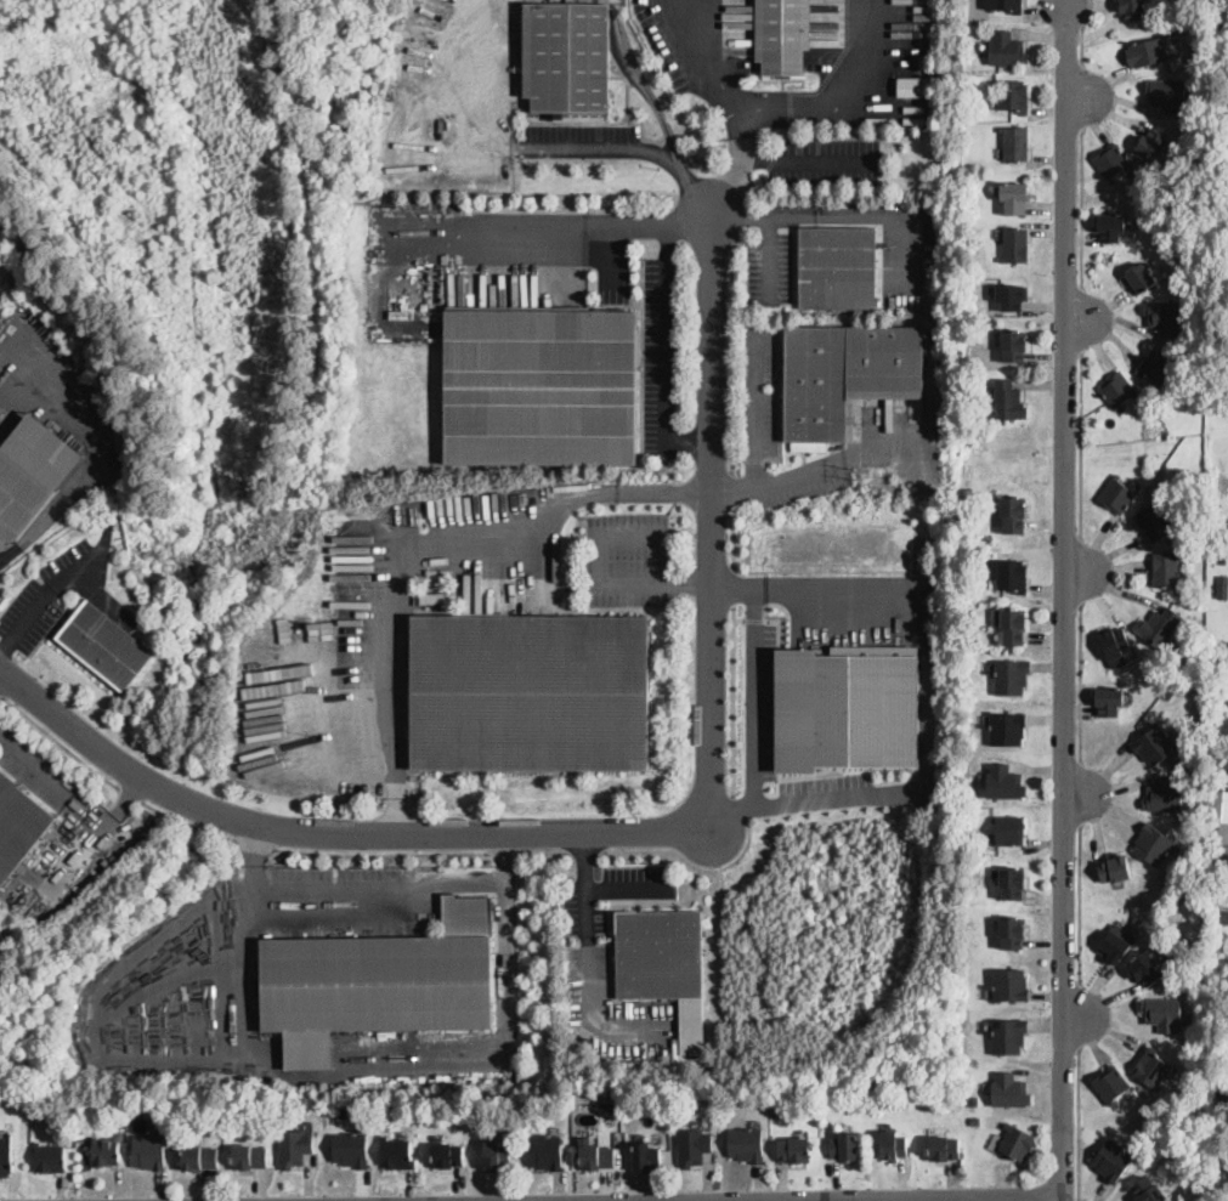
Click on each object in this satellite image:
road: (615, 1)
building: (1005, 4)
building: (1131, 10)
building: (782, 36)
road: (1081, 41)
building: (1007, 50)
building: (1147, 52)
building: (1200, 53)
building: (566, 58)
building: (1204, 67)
road: (483, 79)
road: (641, 80)
building: (912, 85)
building: (1013, 95)
road: (1081, 95)
building: (1167, 95)
road: (783, 108)
parking lot: (582, 140)
building: (1014, 143)
building: (1150, 145)
road: (626, 149)
parking lot: (825, 160)
road: (807, 162)
building: (1111, 162)
road: (736, 163)
building: (1175, 196)
building: (1014, 198)
road: (1081, 206)
road: (873, 213)
road: (643, 223)
road: (770, 225)
building: (1110, 227)
road: (440, 239)
building: (1014, 245)
road: (610, 251)
building: (1185, 255)
parking lot: (909, 257)
building: (1223, 257)
parking lot: (769, 265)
building: (837, 267)
building: (1139, 278)
building: (1011, 296)
building: (401, 315)
building: (1165, 316)
road: (1081, 317)
road: (666, 334)
road: (731, 344)
building: (1014, 347)
parking lot: (660, 355)
building: (1158, 366)
building: (845, 374)
building: (541, 387)
parking lot: (760, 390)
building: (1117, 390)
building: (1006, 402)
road: (756, 409)
road: (1080, 442)
building: (1, 443)
road: (91, 454)
road: (820, 468)
building: (32, 474)
power tower: (856, 474)
road: (730, 489)
building: (1116, 495)
building: (1192, 500)
building: (1216, 506)
building: (1013, 515)
power tower: (421, 521)
building: (1153, 521)
road: (732, 538)
building: (1201, 540)
road: (428, 557)
parking lot: (628, 557)
road: (1080, 567)
building: (1165, 568)
building: (1012, 574)
road: (605, 584)
road: (732, 585)
building: (1222, 587)
road: (52, 589)
parking lot: (53, 589)
road: (101, 594)
road: (1064, 601)
road: (737, 618)
road: (754, 618)
building: (1013, 627)
building: (1158, 629)
building: (964, 630)
building: (1114, 644)
building: (104, 645)
building: (1217, 670)
road: (754, 673)
building: (1151, 673)
building: (1011, 676)
road: (1079, 680)
building: (1168, 692)
building: (530, 693)
road: (926, 693)
road: (732, 699)
parking lot: (759, 701)
building: (1108, 701)
building: (847, 706)
building: (1007, 729)
road: (60, 742)
building: (1153, 744)
road: (34, 763)
parking lot: (34, 769)
building: (1003, 782)
parking lot: (826, 791)
road: (1079, 793)
road: (128, 794)
building: (1164, 795)
building: (1221, 804)
road: (740, 808)
road: (730, 815)
building: (18, 825)
road: (186, 825)
building: (1215, 825)
building: (1009, 831)
road: (644, 832)
road: (92, 837)
road: (255, 844)
building: (1154, 845)
road: (507, 851)
road: (547, 851)
road: (585, 851)
road: (379, 854)
road: (585, 857)
building: (1222, 860)
road: (690, 865)
building: (1114, 869)
building: (1012, 884)
road: (372, 893)
road: (667, 900)
road: (1079, 903)
building: (1222, 916)
building: (1137, 918)
building: (1012, 933)
building: (1115, 947)
road: (588, 948)
building: (660, 953)
building: (1145, 969)
building: (383, 978)
building: (1009, 985)
road: (1077, 1014)
building: (1162, 1014)
building: (1008, 1035)
building: (309, 1050)
road: (260, 1064)
building: (1151, 1067)
building: (1110, 1083)
building: (1009, 1090)
building: (1219, 1095)
building: (974, 1100)
building: (613, 1109)
building: (343, 1110)
building: (783, 1110)
building: (415, 1117)
building: (974, 1121)
building: (1148, 1122)
road: (1077, 1124)
building: (746, 1143)
building: (1017, 1143)
building: (692, 1145)
building: (893, 1145)
building: (844, 1146)
building: (294, 1148)
building: (350, 1148)
building: (794, 1148)
building: (943, 1148)
building: (106, 1150)
building: (149, 1151)
building: (396, 1151)
building: (545, 1151)
building: (496, 1154)
building: (5, 1155)
building: (249, 1155)
building: (447, 1155)
building: (595, 1155)
building: (49, 1156)
building: (199, 1156)
building: (645, 1156)
building: (1113, 1160)
building: (1222, 1166)
building: (1149, 1190)
road: (843, 1197)
road: (847, 1199)

